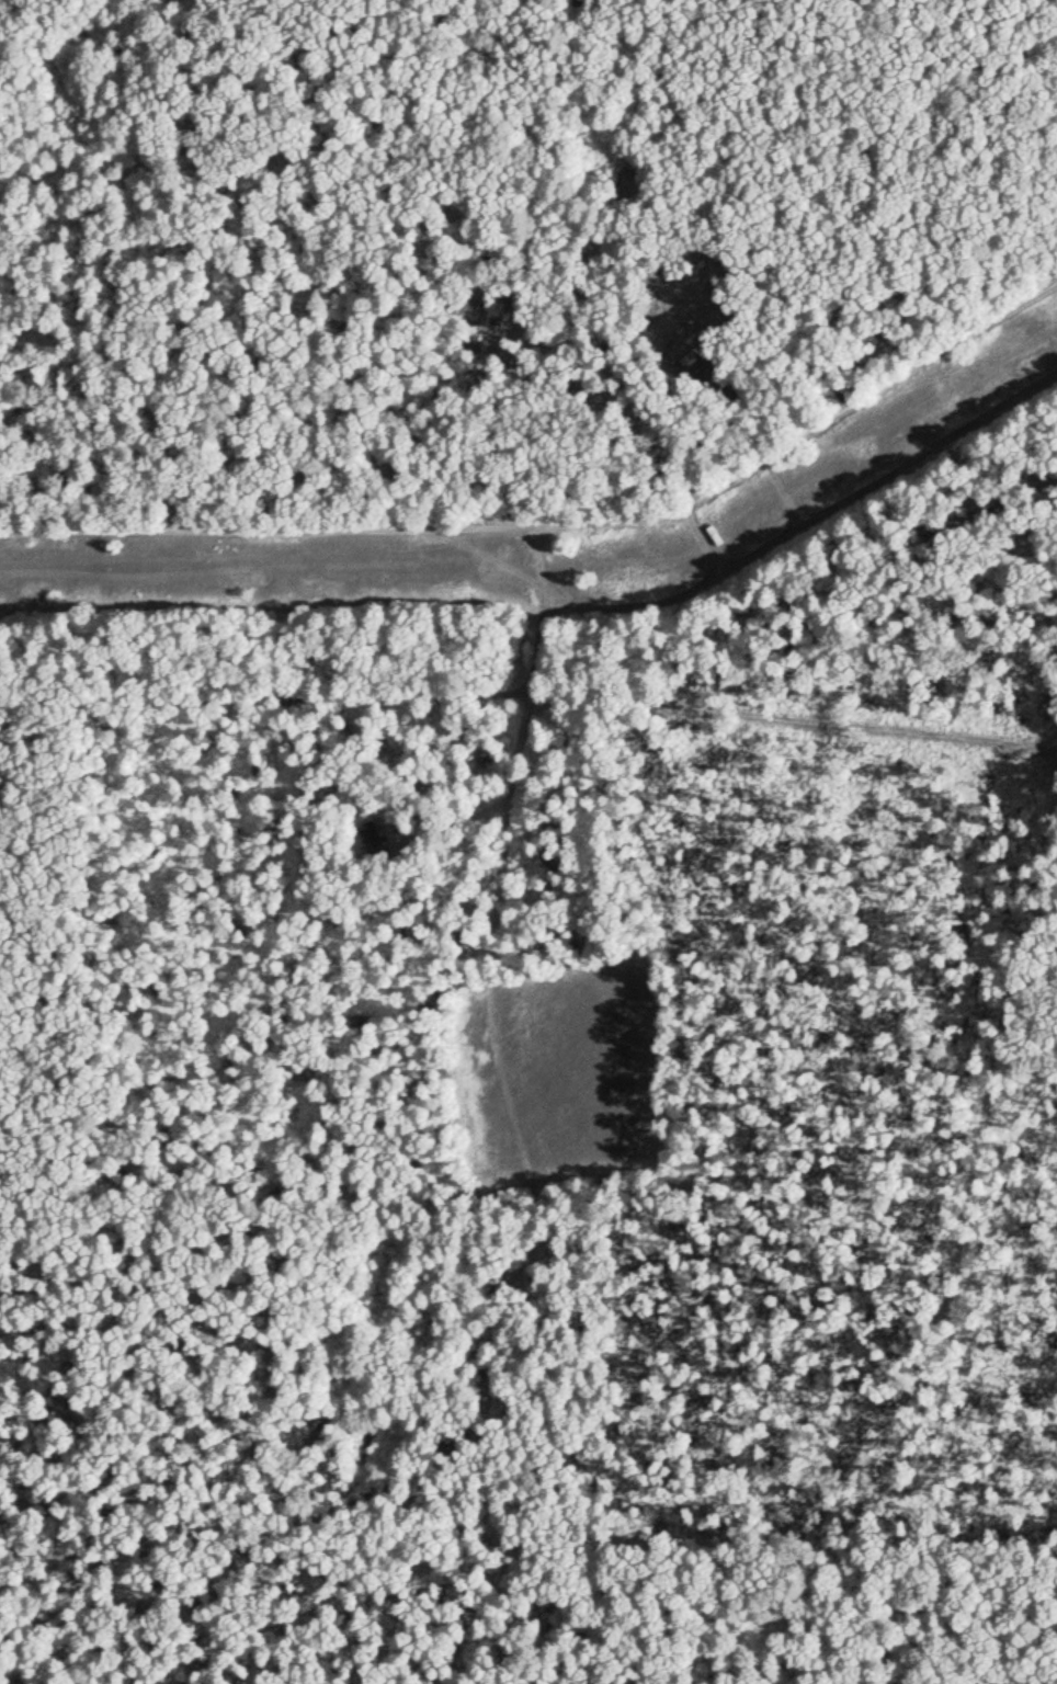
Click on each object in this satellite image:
road: (560, 525)
road: (601, 565)
road: (556, 608)
road: (270, 696)
road: (788, 715)
building: (372, 838)
road: (491, 975)
road: (970, 1241)

